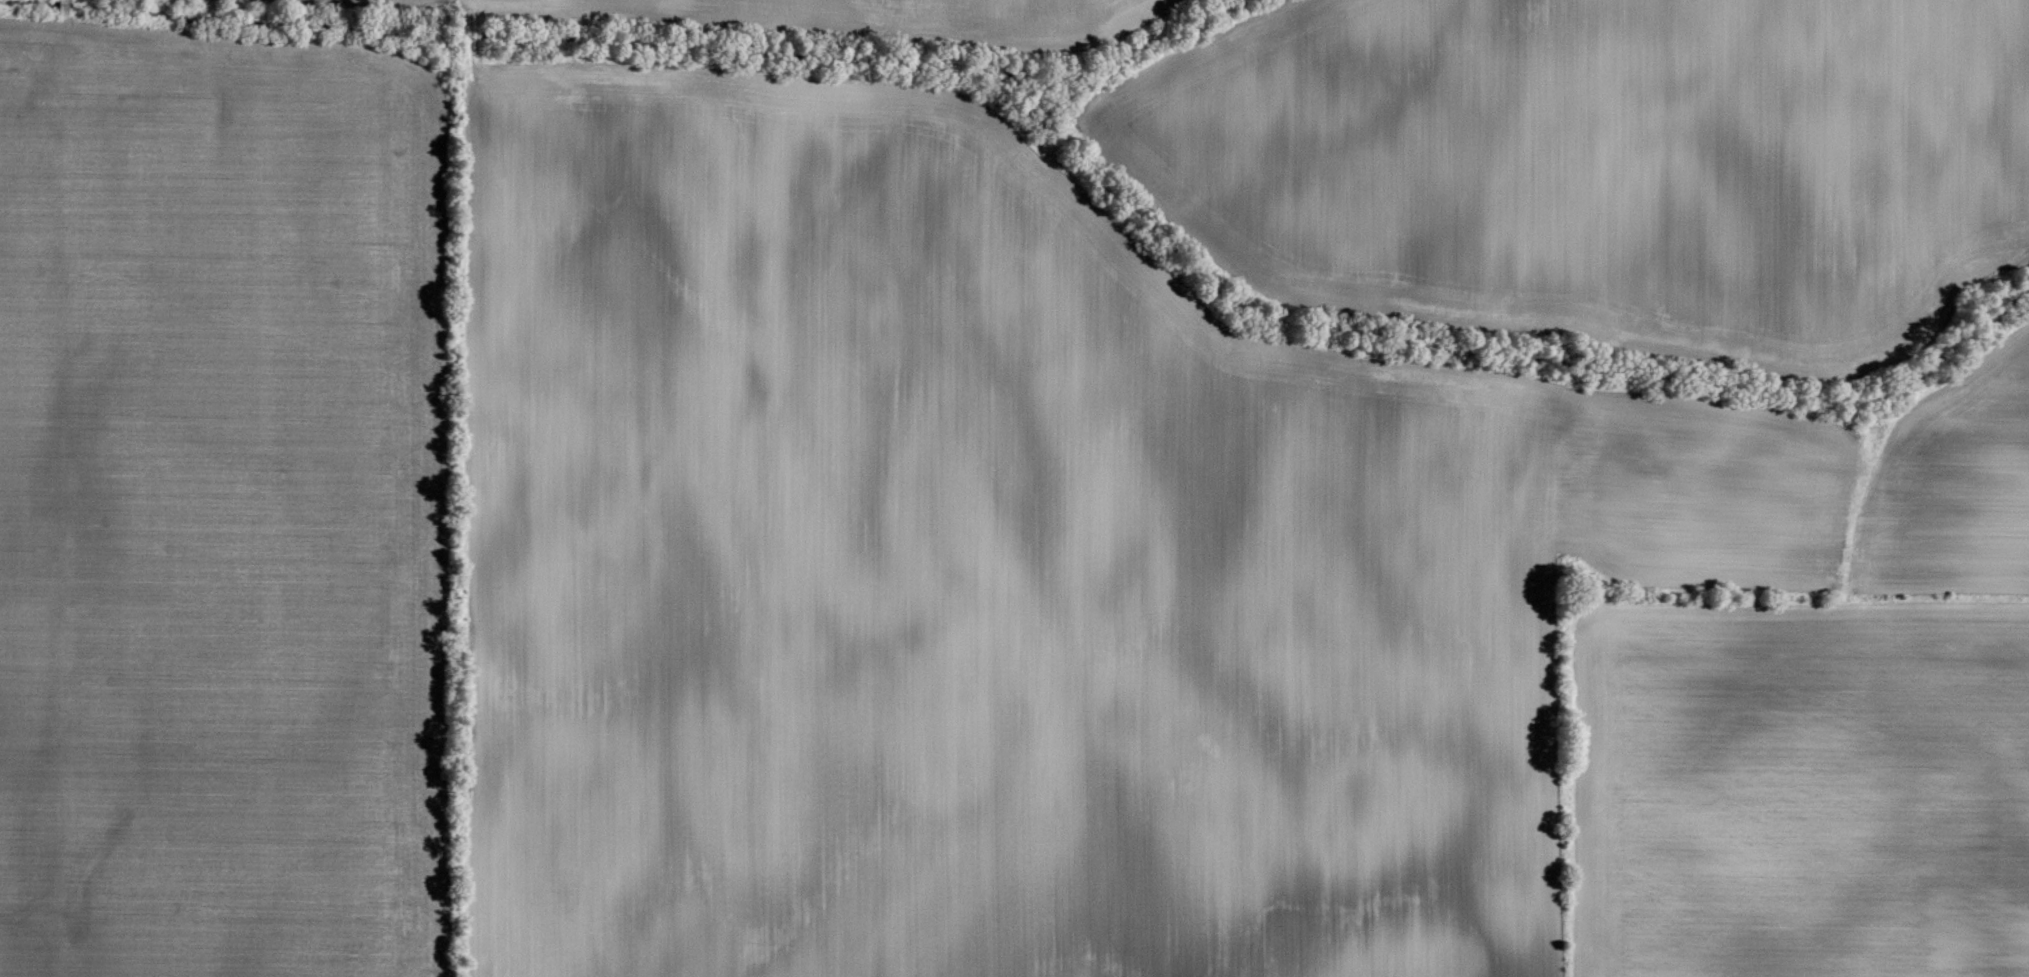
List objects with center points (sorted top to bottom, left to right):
road: (64, 5)
road: (64, 33)

